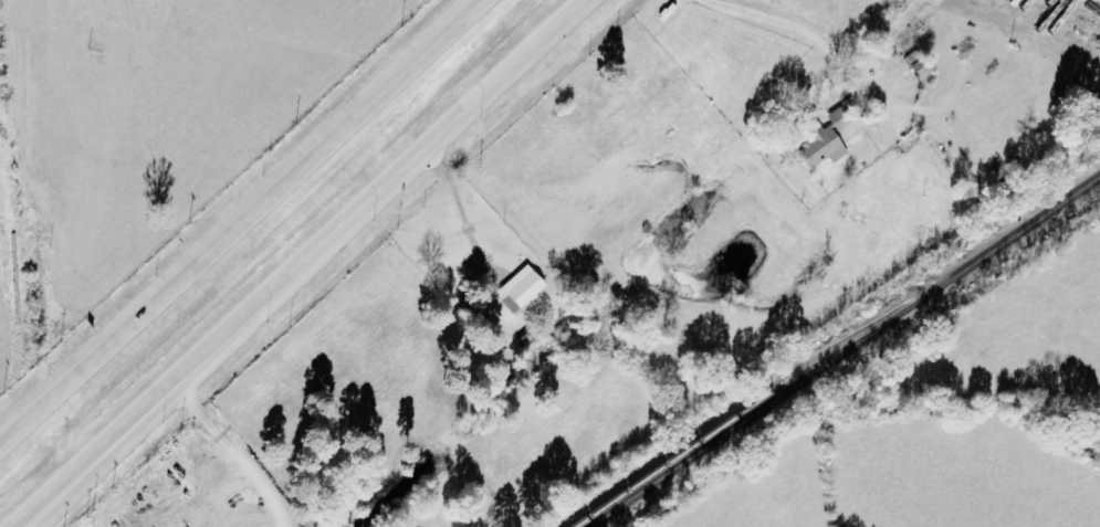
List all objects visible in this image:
building: (918, 64)
building: (825, 141)
road: (239, 220)
road: (313, 255)
building: (521, 291)
railway: (845, 351)
railway: (736, 415)
road: (27, 518)
road: (29, 518)

